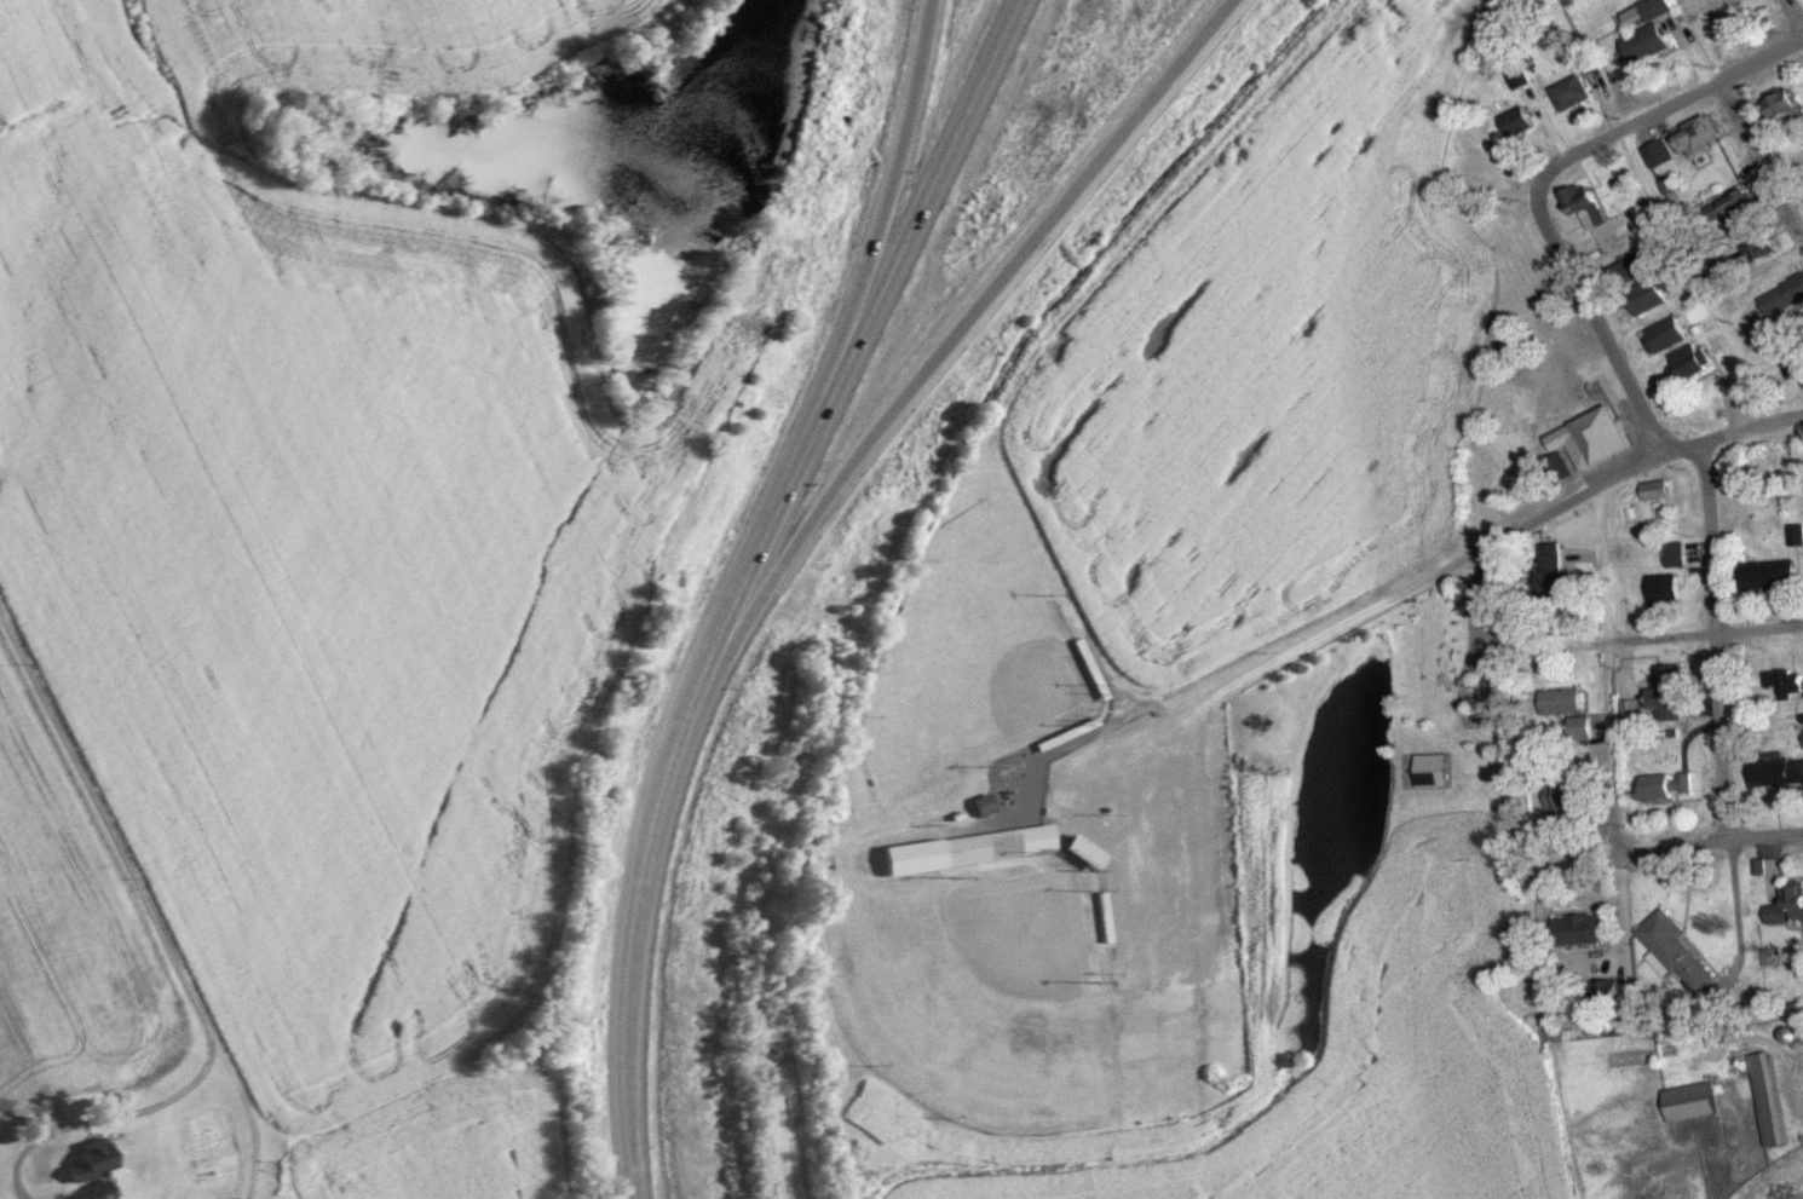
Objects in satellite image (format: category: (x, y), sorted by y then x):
building: (1652, 33)
building: (1517, 79)
building: (1572, 92)
road: (1667, 104)
building: (1785, 108)
building: (1520, 121)
building: (1698, 134)
road: (1751, 142)
building: (1659, 154)
building: (1583, 204)
building: (1730, 209)
road: (917, 226)
road: (881, 227)
building: (1758, 246)
building: (1635, 266)
road: (1693, 276)
building: (1677, 284)
building: (1647, 296)
building: (1782, 304)
road: (1591, 317)
building: (1664, 335)
road: (950, 341)
building: (1686, 362)
building: (1802, 382)
building: (1589, 438)
road: (1695, 444)
building: (1651, 489)
building: (1675, 553)
building: (1553, 572)
building: (1775, 573)
road: (749, 576)
building: (1664, 588)
road: (1401, 589)
road: (1667, 636)
road: (1710, 639)
park: (966, 664)
road: (1603, 664)
building: (1096, 668)
building: (1788, 681)
building: (1674, 691)
building: (1561, 699)
building: (1499, 701)
building: (1580, 725)
building: (1071, 739)
building: (1780, 769)
building: (1674, 784)
building: (1569, 795)
building: (986, 807)
road: (1709, 835)
building: (1002, 842)
building: (1089, 853)
road: (1136, 874)
park: (1025, 889)
road: (1205, 893)
road: (138, 897)
road: (1619, 904)
building: (1792, 905)
road: (1735, 910)
parking lot: (1173, 915)
building: (1107, 916)
building: (1583, 927)
road: (634, 946)
building: (1682, 947)
building: (1613, 988)
park: (974, 1010)
building: (1776, 1097)
building: (1698, 1101)
road: (247, 1107)
building: (86, 1165)
building: (44, 1172)

